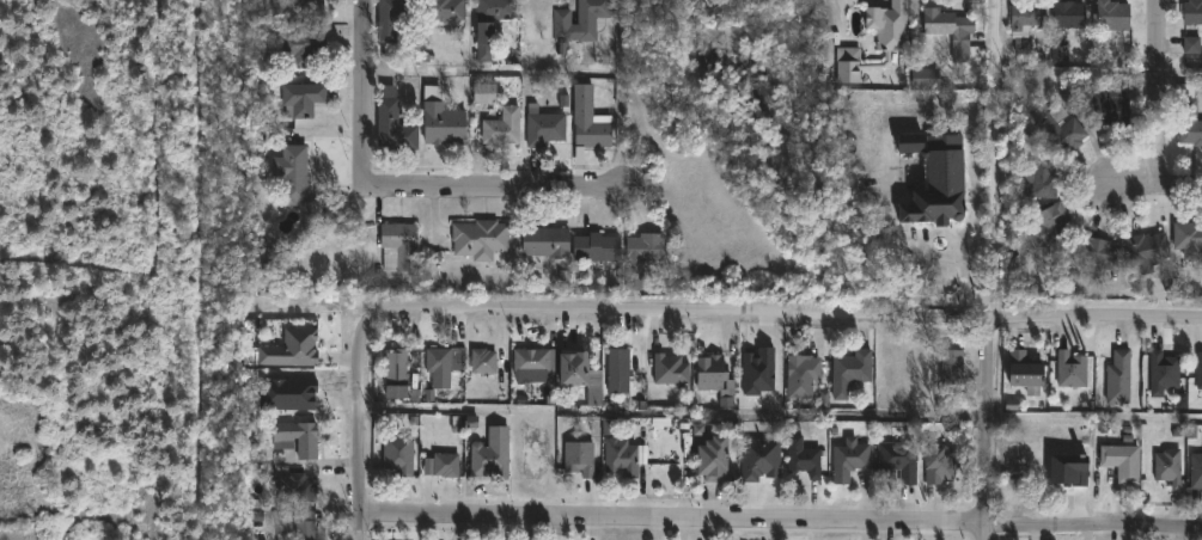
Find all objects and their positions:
building: (295, 0)
building: (447, 10)
building: (1064, 14)
building: (1109, 16)
building: (396, 17)
building: (584, 20)
building: (1021, 23)
building: (493, 24)
building: (1190, 25)
building: (951, 31)
building: (895, 37)
building: (309, 47)
building: (264, 56)
road: (1180, 70)
road: (489, 72)
building: (488, 92)
road: (1158, 92)
building: (305, 98)
building: (1109, 106)
building: (1186, 116)
building: (445, 121)
building: (592, 121)
building: (396, 124)
building: (547, 127)
building: (505, 128)
building: (1063, 129)
railway: (202, 152)
building: (294, 174)
building: (1047, 178)
road: (410, 180)
road: (1154, 184)
building: (935, 204)
building: (1045, 232)
building: (1189, 237)
building: (482, 239)
building: (549, 243)
building: (401, 247)
building: (599, 247)
building: (1149, 250)
building: (643, 256)
building: (1104, 256)
road: (996, 269)
road: (599, 311)
building: (291, 349)
building: (444, 360)
building: (483, 361)
building: (556, 367)
building: (951, 367)
building: (395, 368)
building: (803, 368)
building: (670, 369)
building: (1069, 369)
building: (617, 370)
building: (1198, 370)
building: (849, 372)
building: (1024, 373)
building: (1163, 373)
building: (713, 378)
building: (1118, 378)
railway: (205, 423)
road: (365, 423)
road: (65, 425)
building: (281, 442)
building: (397, 454)
building: (489, 454)
building: (622, 455)
building: (803, 456)
building: (579, 458)
building: (710, 459)
building: (898, 459)
building: (848, 460)
building: (1122, 460)
building: (440, 464)
building: (939, 464)
building: (1169, 466)
building: (1195, 470)
road: (782, 520)
building: (300, 526)

